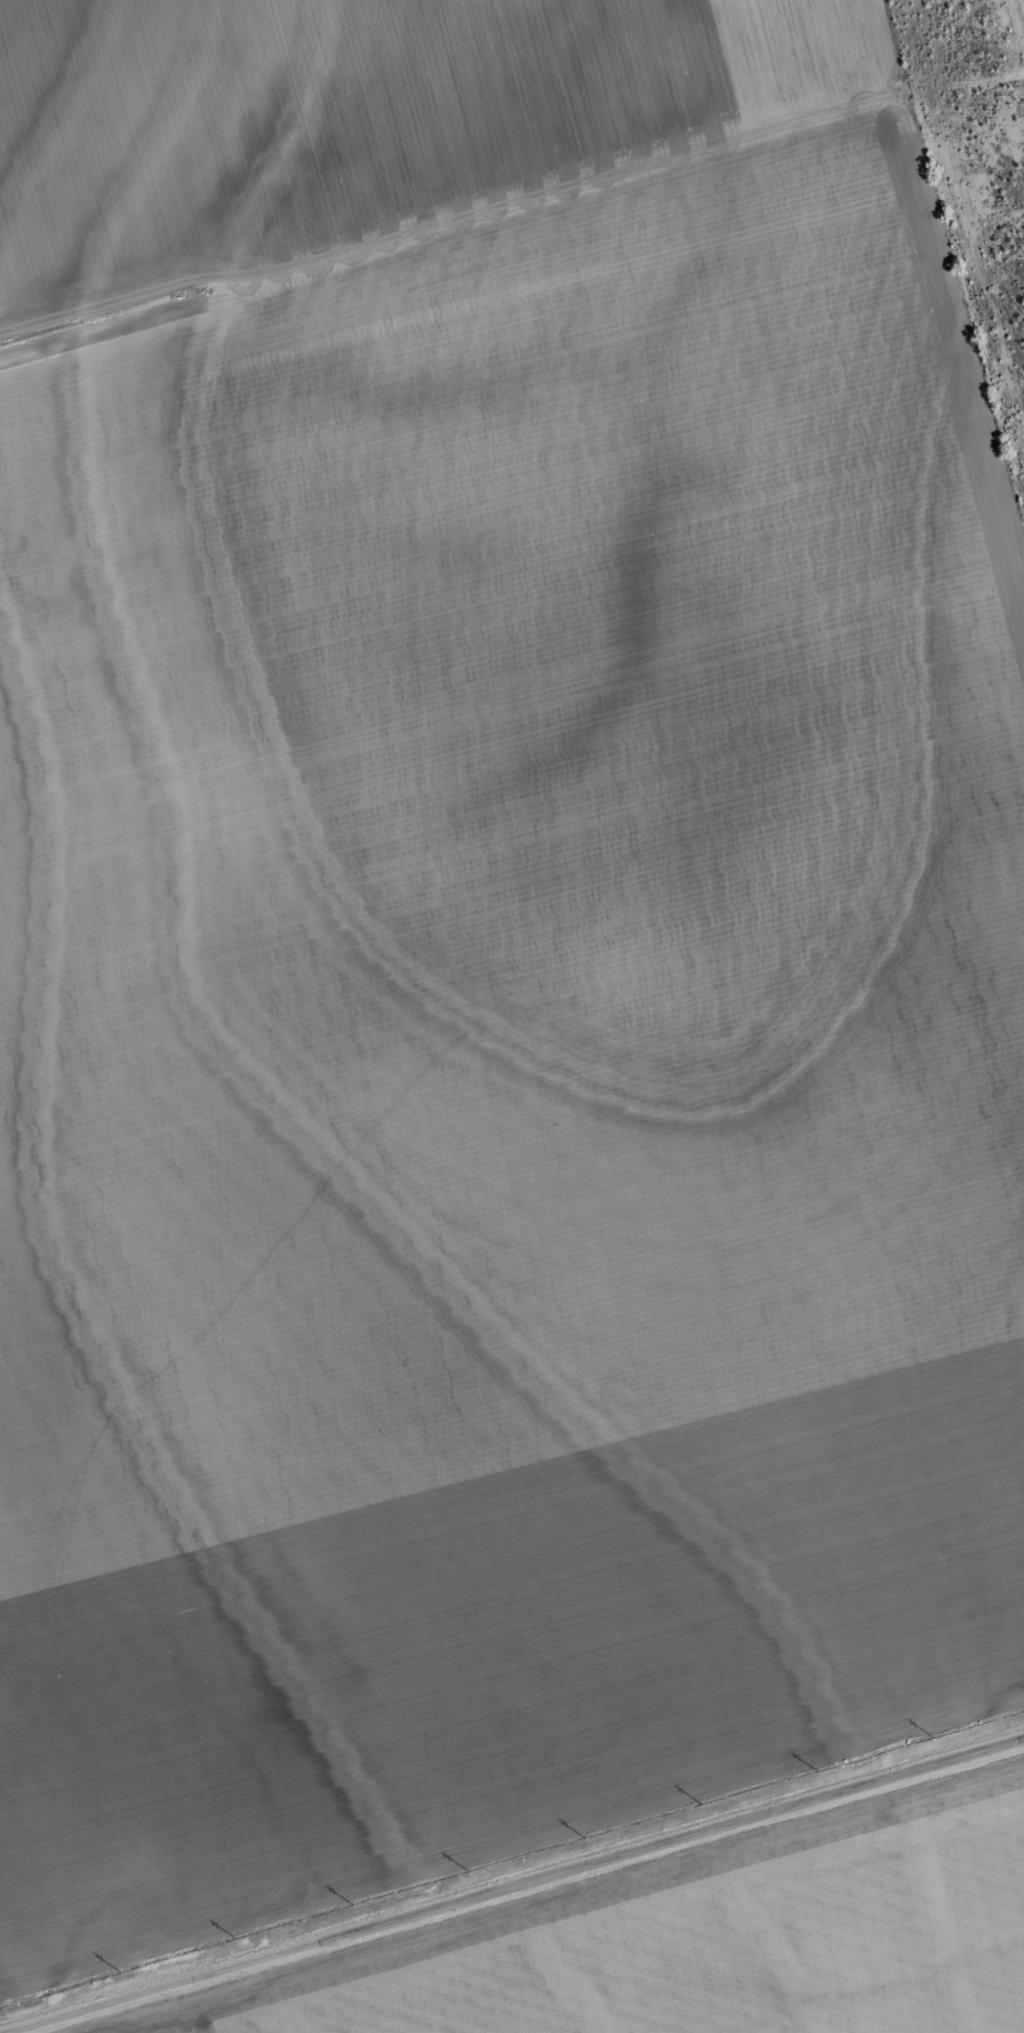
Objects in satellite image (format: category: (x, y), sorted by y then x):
road: (512, 1875)

